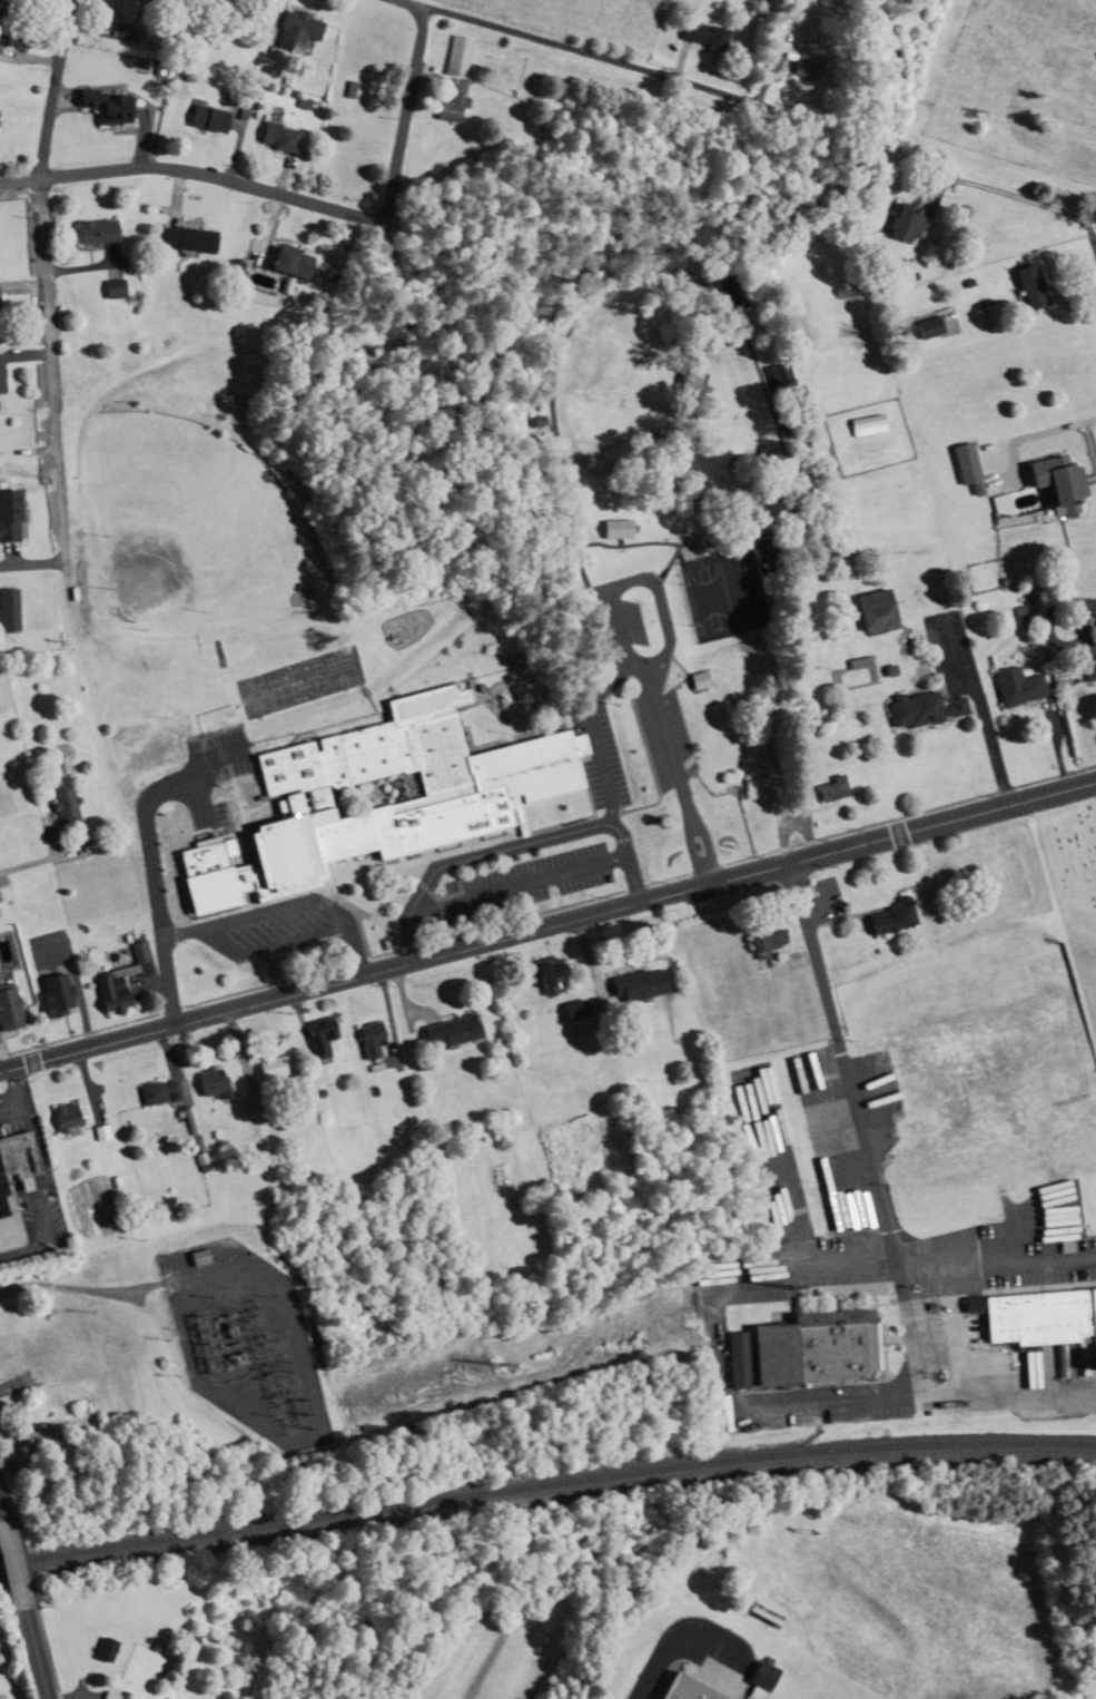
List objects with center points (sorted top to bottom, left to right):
building: (125, 10)
building: (2, 24)
building: (296, 30)
building: (701, 33)
road: (586, 51)
building: (803, 65)
building: (455, 78)
building: (103, 105)
road: (406, 115)
building: (206, 118)
building: (276, 136)
road: (195, 171)
road: (1021, 196)
building: (906, 223)
building: (92, 232)
road: (1095, 235)
building: (185, 238)
building: (287, 262)
road: (685, 274)
road: (48, 279)
building: (1028, 286)
building: (111, 288)
building: (927, 327)
building: (0, 374)
road: (539, 386)
building: (692, 386)
building: (865, 424)
road: (562, 452)
building: (740, 459)
building: (965, 467)
building: (1053, 487)
road: (794, 492)
building: (9, 515)
park: (186, 515)
park: (680, 515)
building: (621, 528)
road: (673, 556)
road: (612, 590)
park: (723, 593)
building: (8, 609)
building: (871, 610)
parking lot: (613, 630)
building: (1088, 669)
road: (688, 671)
building: (703, 679)
building: (1015, 686)
building: (920, 709)
road: (590, 723)
road: (985, 723)
parking lot: (663, 735)
road: (668, 746)
building: (146, 752)
building: (393, 789)
road: (708, 789)
building: (827, 789)
road: (733, 794)
building: (60, 801)
road: (643, 806)
road: (609, 812)
road: (612, 813)
road: (746, 825)
road: (168, 831)
road: (705, 839)
road: (689, 848)
road: (494, 852)
road: (708, 872)
road: (634, 877)
road: (520, 884)
park: (1072, 898)
road: (284, 904)
road: (547, 910)
building: (887, 917)
road: (547, 924)
building: (762, 935)
building: (549, 978)
building: (119, 980)
road: (169, 981)
building: (634, 984)
building: (51, 994)
building: (7, 1008)
building: (574, 1014)
building: (446, 1032)
building: (320, 1038)
building: (369, 1041)
building: (269, 1069)
building: (989, 1080)
building: (211, 1082)
building: (158, 1091)
road: (17, 1096)
road: (855, 1107)
building: (63, 1119)
road: (45, 1171)
building: (4, 1191)
road: (24, 1248)
building: (196, 1257)
road: (947, 1261)
building: (1043, 1320)
power substation: (246, 1338)
power substation: (240, 1340)
building: (806, 1351)
building: (33, 1438)
railway: (546, 1484)
road: (10, 1573)
road: (32, 1654)
building: (761, 1676)
building: (683, 1690)
building: (110, 1695)

